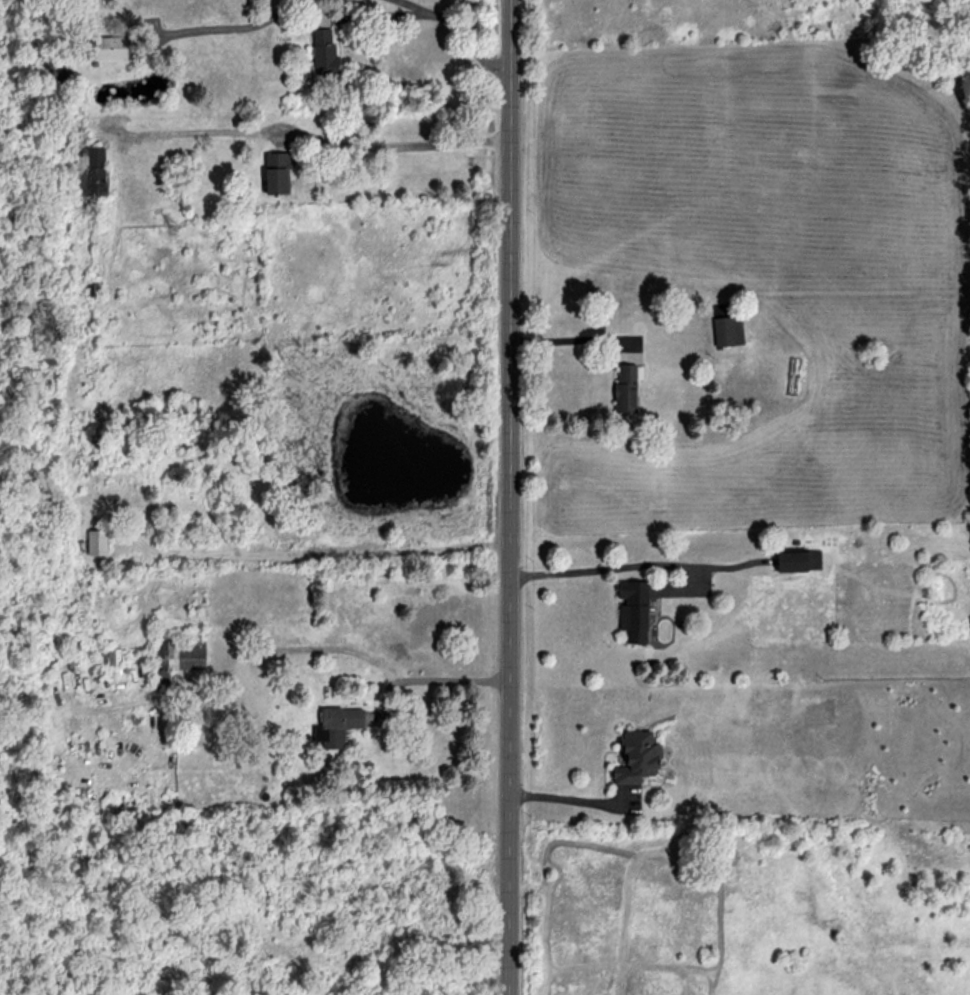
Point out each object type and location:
road: (373, 16)
road: (459, 24)
road: (218, 28)
building: (108, 48)
building: (324, 53)
road: (389, 143)
building: (90, 172)
building: (276, 173)
building: (728, 331)
building: (624, 389)
road: (506, 497)
building: (96, 543)
building: (797, 561)
road: (639, 567)
building: (632, 611)
building: (176, 658)
road: (438, 680)
building: (336, 725)
building: (636, 759)
road: (579, 806)

